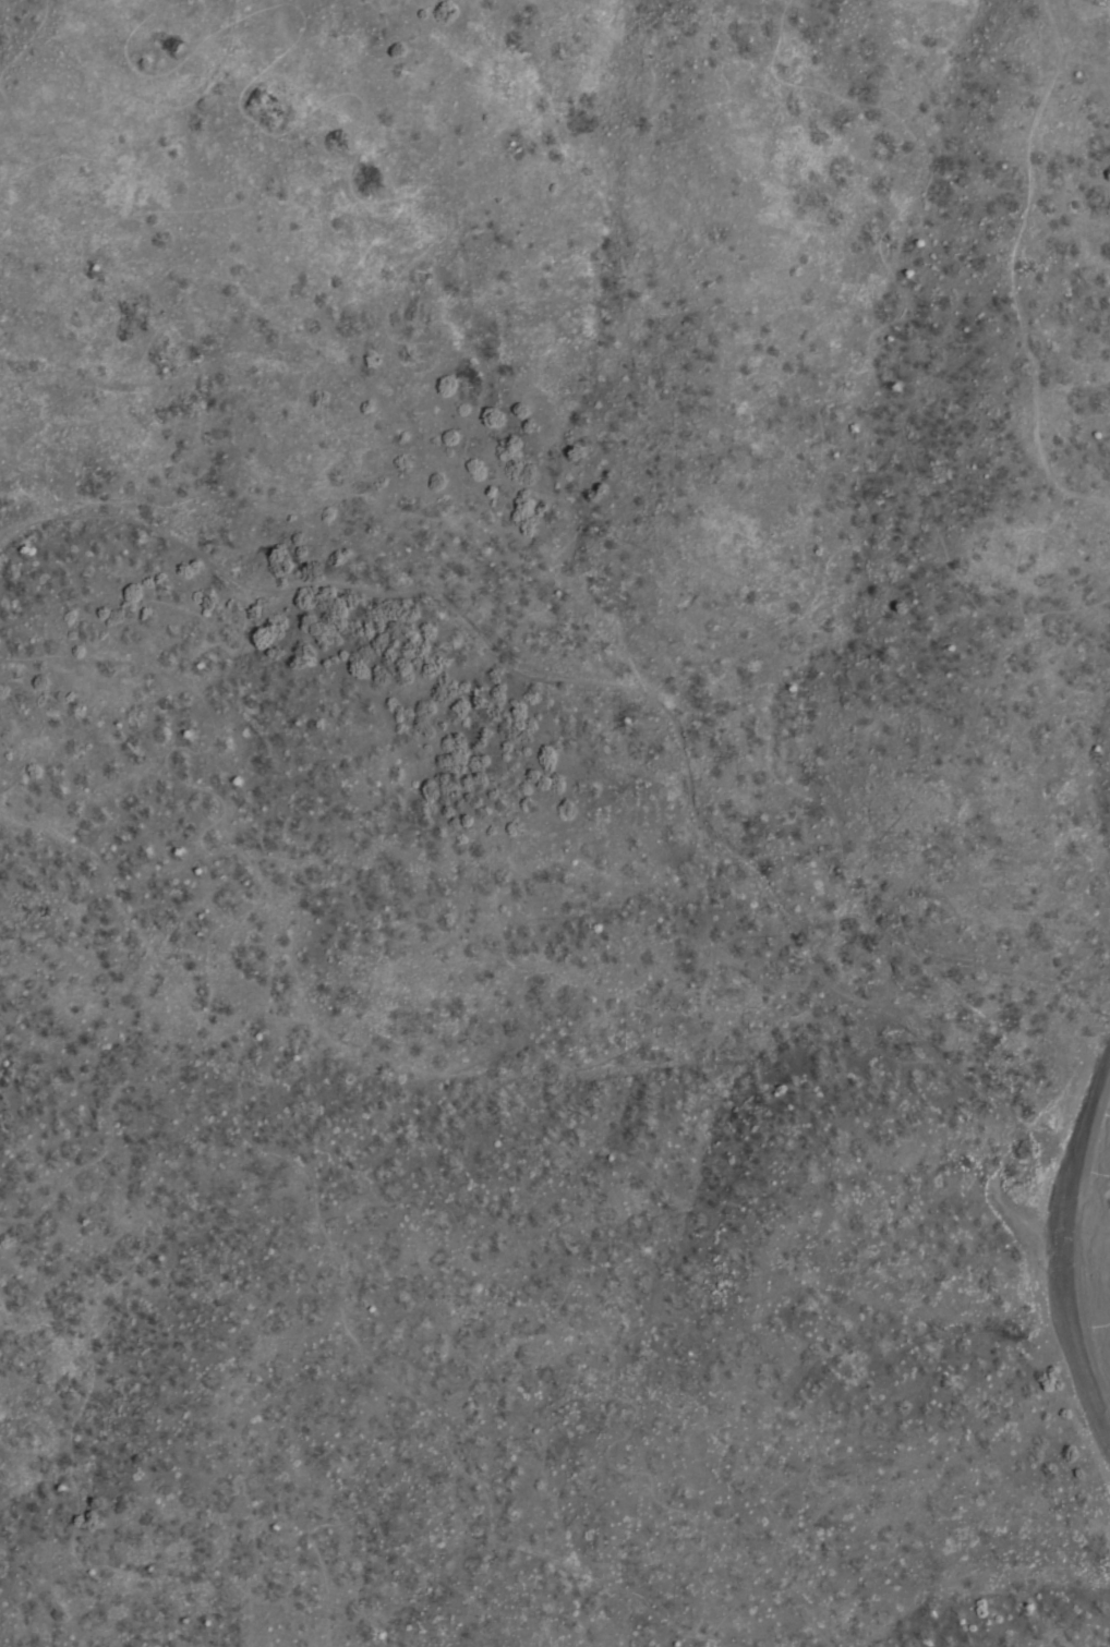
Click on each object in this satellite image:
road: (659, 694)

